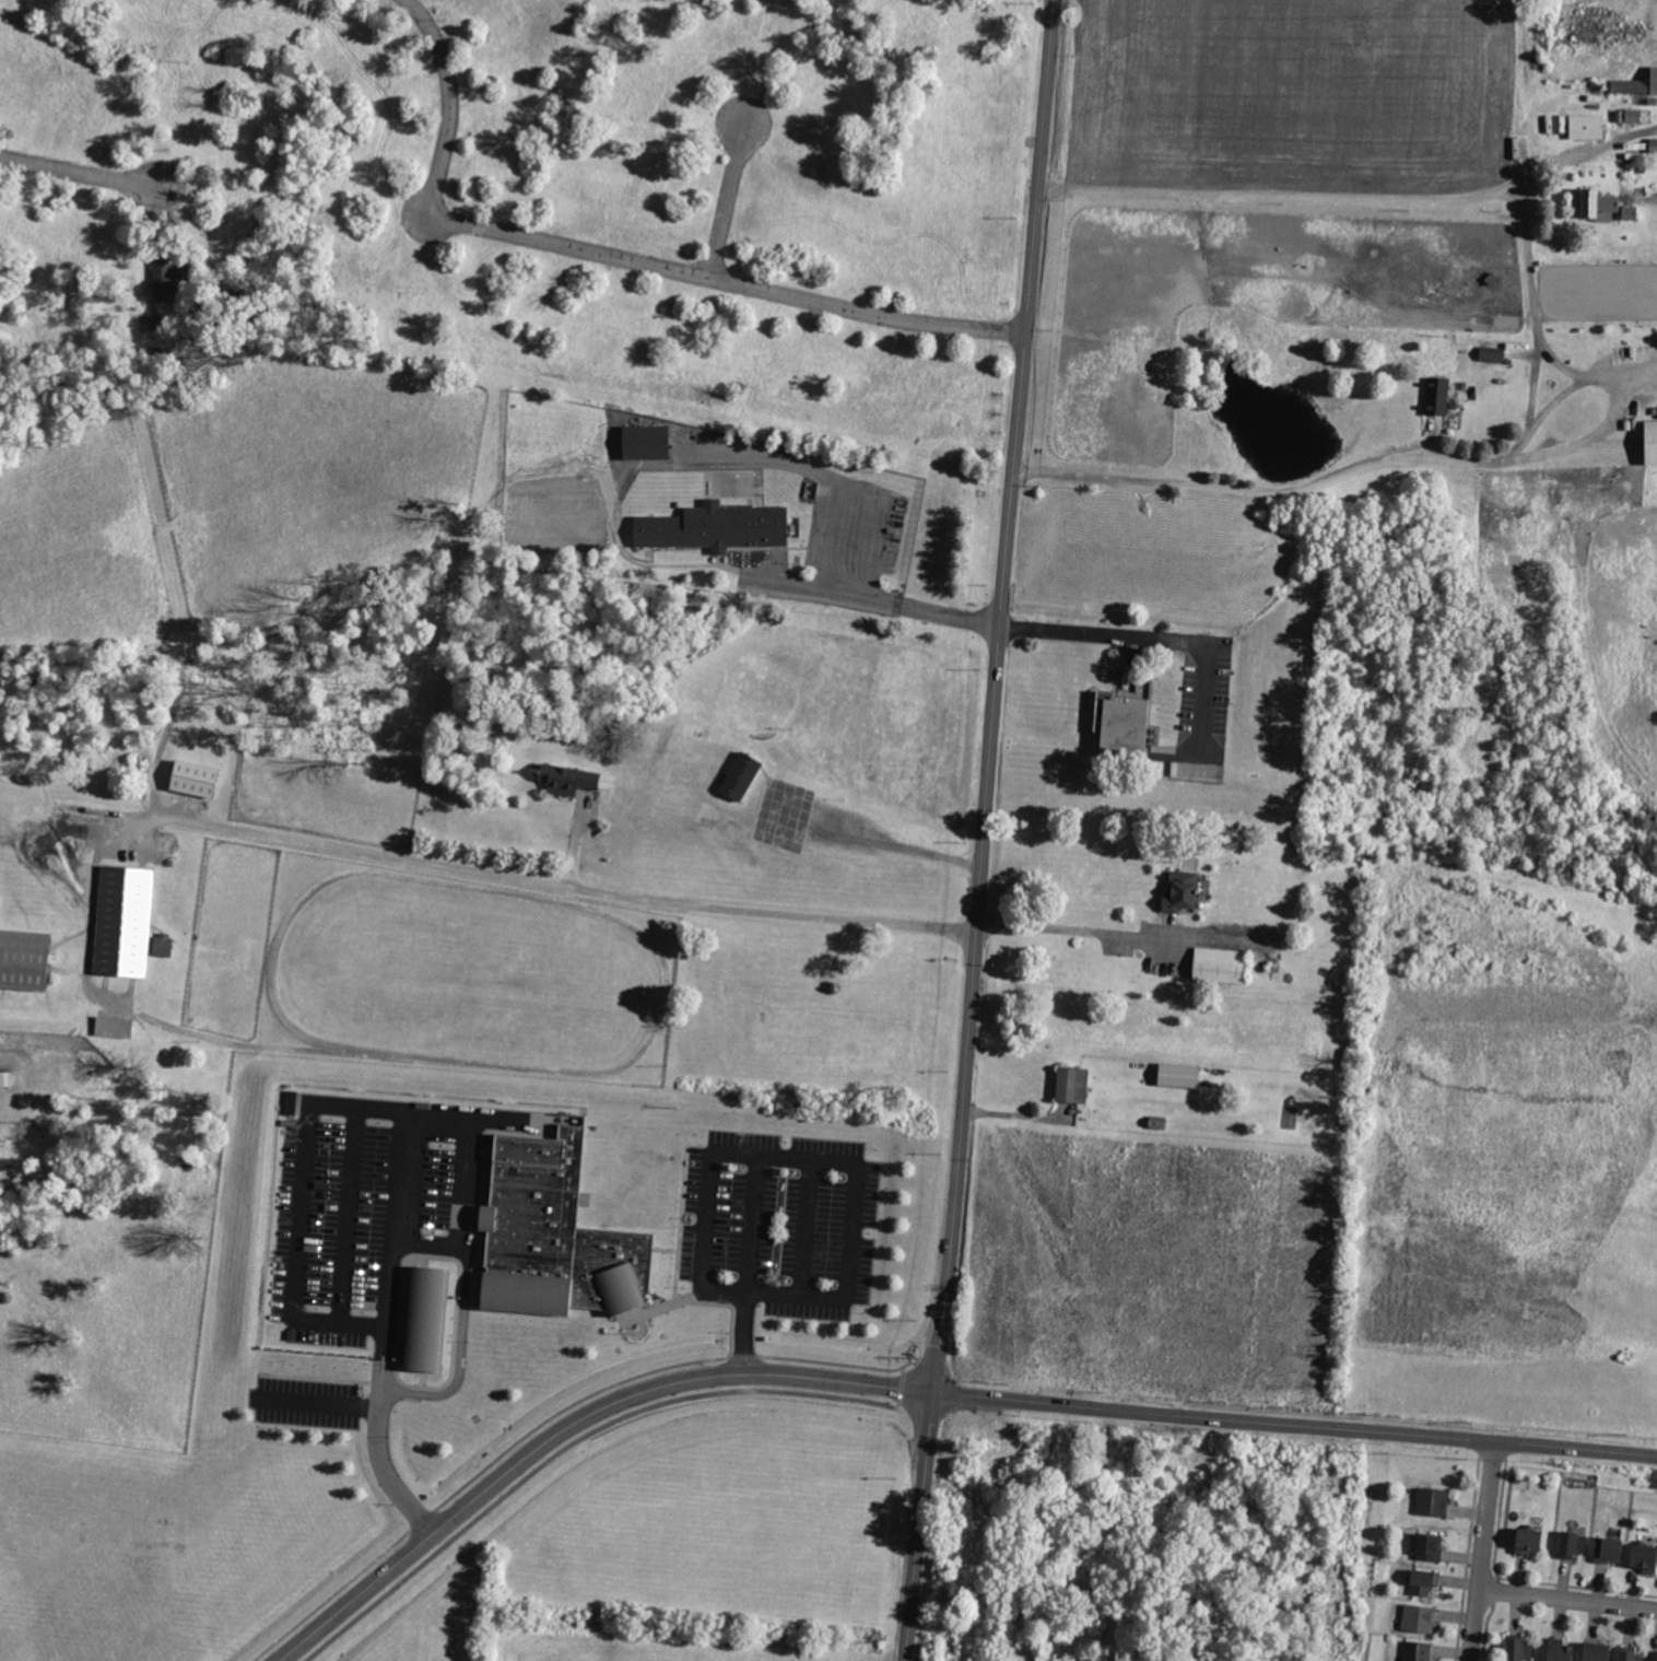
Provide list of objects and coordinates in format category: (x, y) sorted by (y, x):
building: (1653, 80)
building: (1630, 87)
building: (1632, 114)
building: (1586, 126)
road: (81, 175)
road: (727, 199)
road: (1329, 200)
building: (1587, 203)
building: (1606, 209)
building: (1629, 211)
road: (609, 256)
building: (171, 278)
crop: (1349, 312)
road: (1539, 327)
building: (1492, 353)
building: (1437, 396)
building: (1649, 438)
building: (655, 444)
road: (1345, 469)
building: (725, 527)
road: (886, 603)
road: (1150, 636)
park: (766, 676)
park: (891, 726)
building: (1123, 726)
building: (203, 777)
building: (742, 777)
building: (572, 780)
road: (987, 830)
road: (578, 838)
road: (583, 887)
building: (1180, 894)
building: (133, 919)
road: (1096, 933)
building: (163, 944)
building: (30, 958)
building: (1220, 963)
building: (115, 1026)
building: (1179, 1077)
building: (4, 1078)
building: (1070, 1086)
road: (412, 1108)
road: (1023, 1115)
road: (773, 1157)
parking lot: (368, 1212)
parking lot: (777, 1221)
flagpole: (642, 1324)
flagpole: (631, 1329)
flagpole: (637, 1330)
building: (456, 1331)
road: (459, 1353)
road: (901, 1367)
road: (902, 1379)
road: (921, 1391)
road: (900, 1394)
parking lot: (307, 1401)
road: (320, 1404)
road: (540, 1423)
road: (569, 1442)
road: (383, 1470)
building: (1434, 1501)
park: (708, 1512)
park: (277, 1536)
building: (1527, 1541)
building: (1573, 1543)
building: (1430, 1544)
building: (1609, 1548)
road: (1483, 1551)
building: (1644, 1556)
building: (1424, 1580)
road: (1567, 1602)
building: (1420, 1618)
building: (1518, 1648)
building: (1418, 1650)
building: (1596, 1650)
building: (1559, 1651)
building: (1631, 1653)
building: (1655, 1656)

